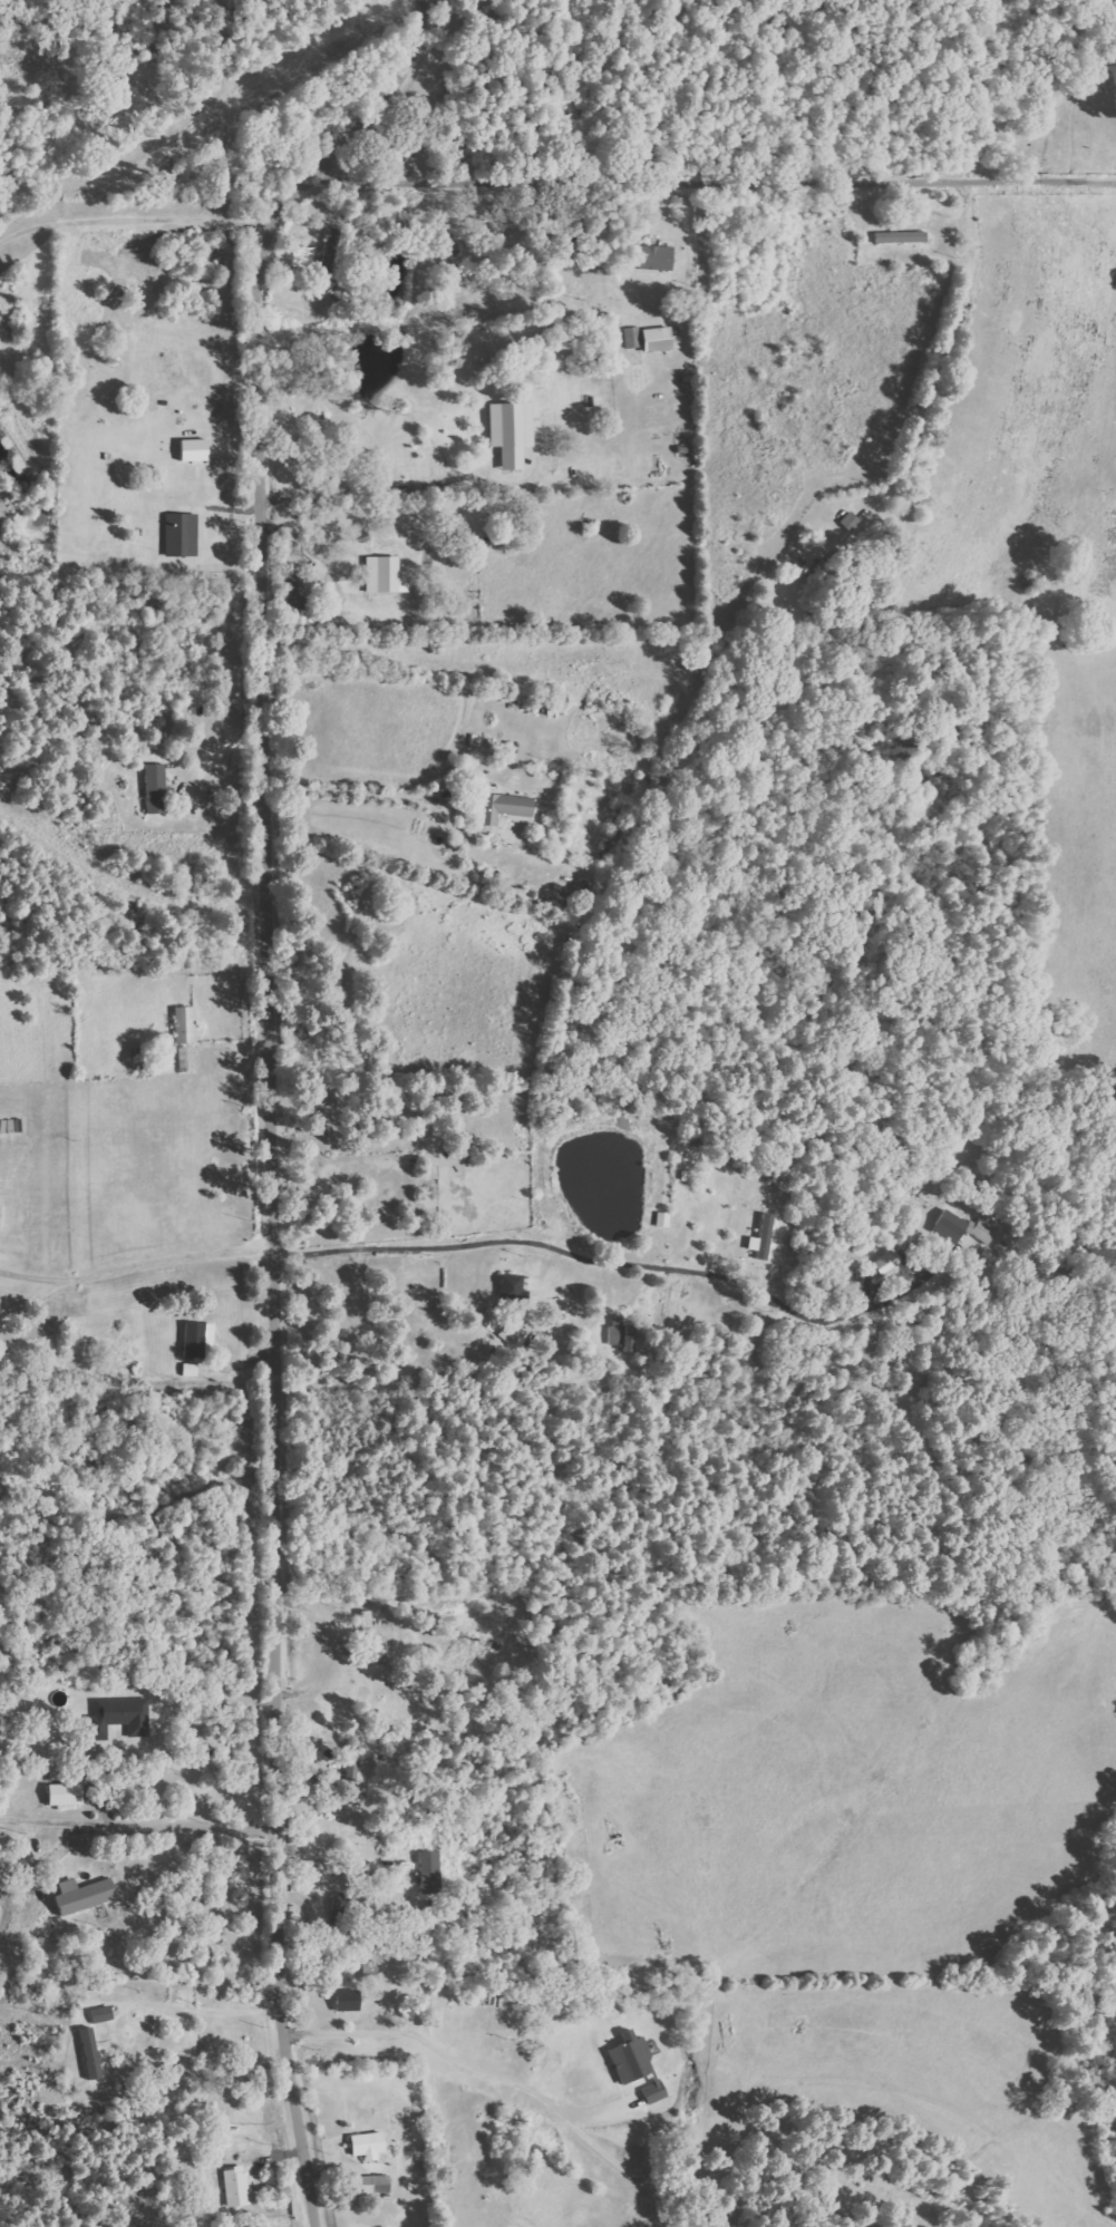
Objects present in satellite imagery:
road: (720, 171)
building: (902, 237)
building: (331, 250)
building: (658, 259)
building: (633, 338)
building: (662, 340)
building: (513, 434)
building: (196, 450)
building: (182, 535)
building: (386, 575)
building: (157, 788)
building: (507, 808)
building: (186, 1024)
road: (274, 1086)
building: (964, 1227)
building: (767, 1236)
building: (887, 1264)
building: (514, 1288)
building: (624, 1333)
building: (197, 1339)
building: (122, 1715)
building: (352, 1763)
building: (67, 1795)
building: (431, 1873)
building: (86, 1895)
building: (349, 2000)
building: (93, 2053)
building: (638, 2065)
building: (369, 2146)
building: (372, 2184)
building: (236, 2186)

